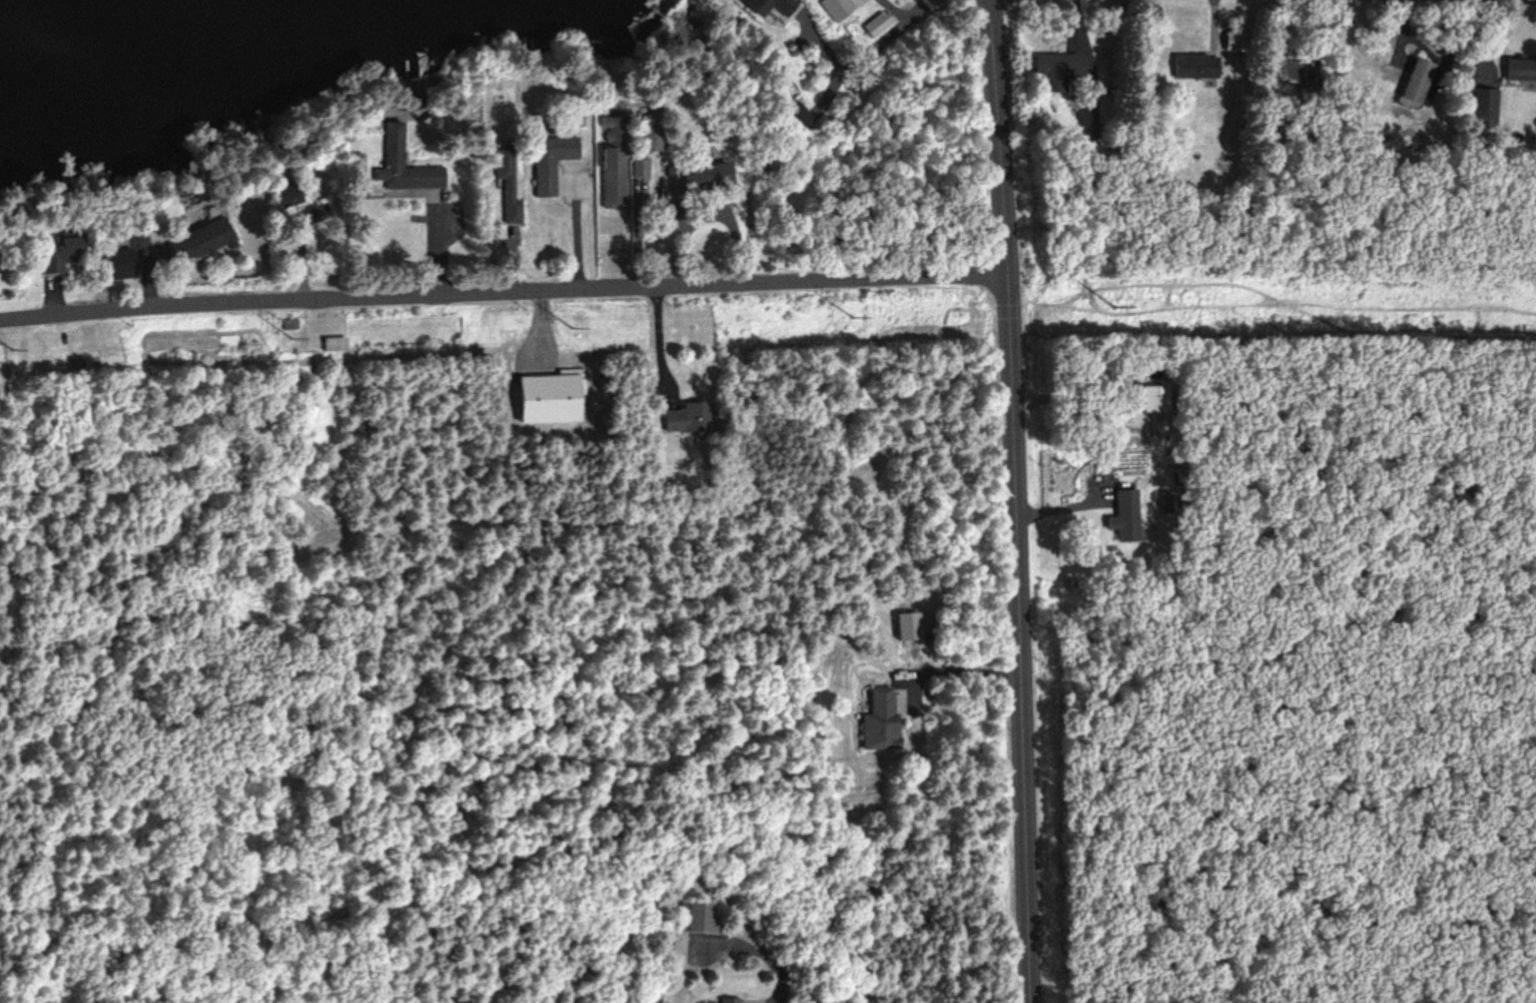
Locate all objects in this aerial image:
building: (769, 7)
building: (880, 23)
road: (897, 28)
building: (1056, 64)
building: (1195, 66)
building: (1519, 69)
building: (1416, 83)
building: (1486, 106)
building: (794, 114)
building: (1085, 150)
building: (609, 161)
building: (547, 162)
building: (402, 164)
building: (705, 177)
building: (288, 194)
road: (572, 235)
building: (197, 242)
building: (54, 258)
building: (124, 263)
road: (502, 293)
building: (334, 344)
building: (1155, 398)
building: (683, 416)
road: (1015, 501)
building: (1126, 514)
road: (955, 668)
building: (878, 720)
building: (698, 916)
building: (726, 1000)
building: (700, 1002)

